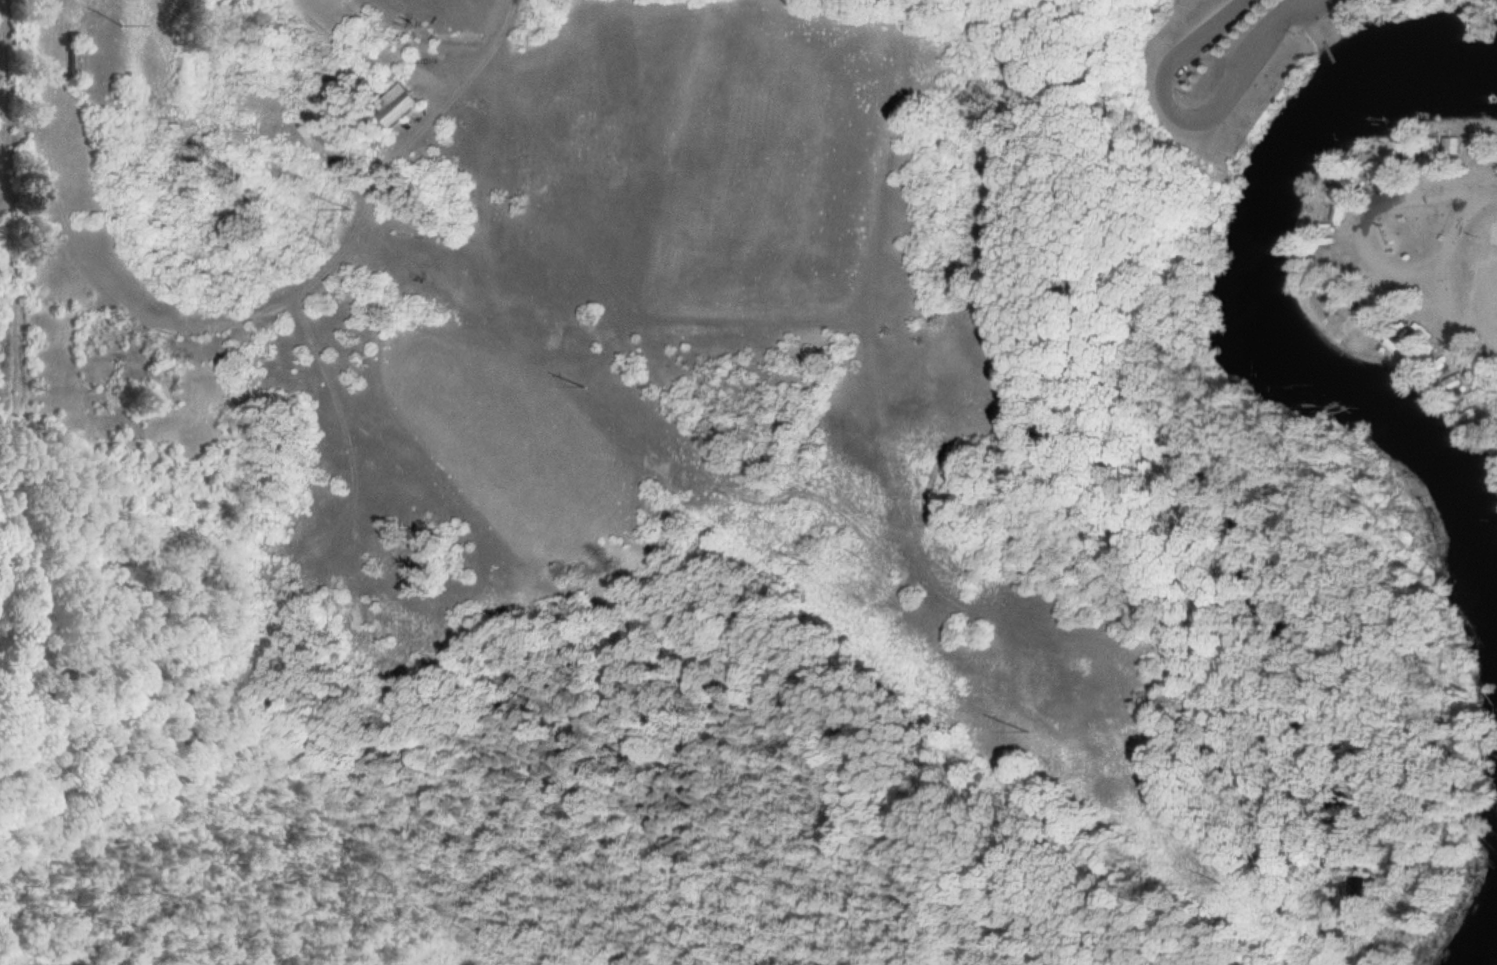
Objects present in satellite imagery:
road: (1322, 22)
parking lot: (1213, 27)
parking lot: (1260, 51)
building: (403, 104)
road: (1190, 118)
building: (1460, 146)
building: (1387, 157)
quarry: (0, 160)
road: (1492, 197)
park: (1493, 231)
road: (1360, 254)
river: (1252, 303)
park: (688, 499)
river: (1481, 941)

